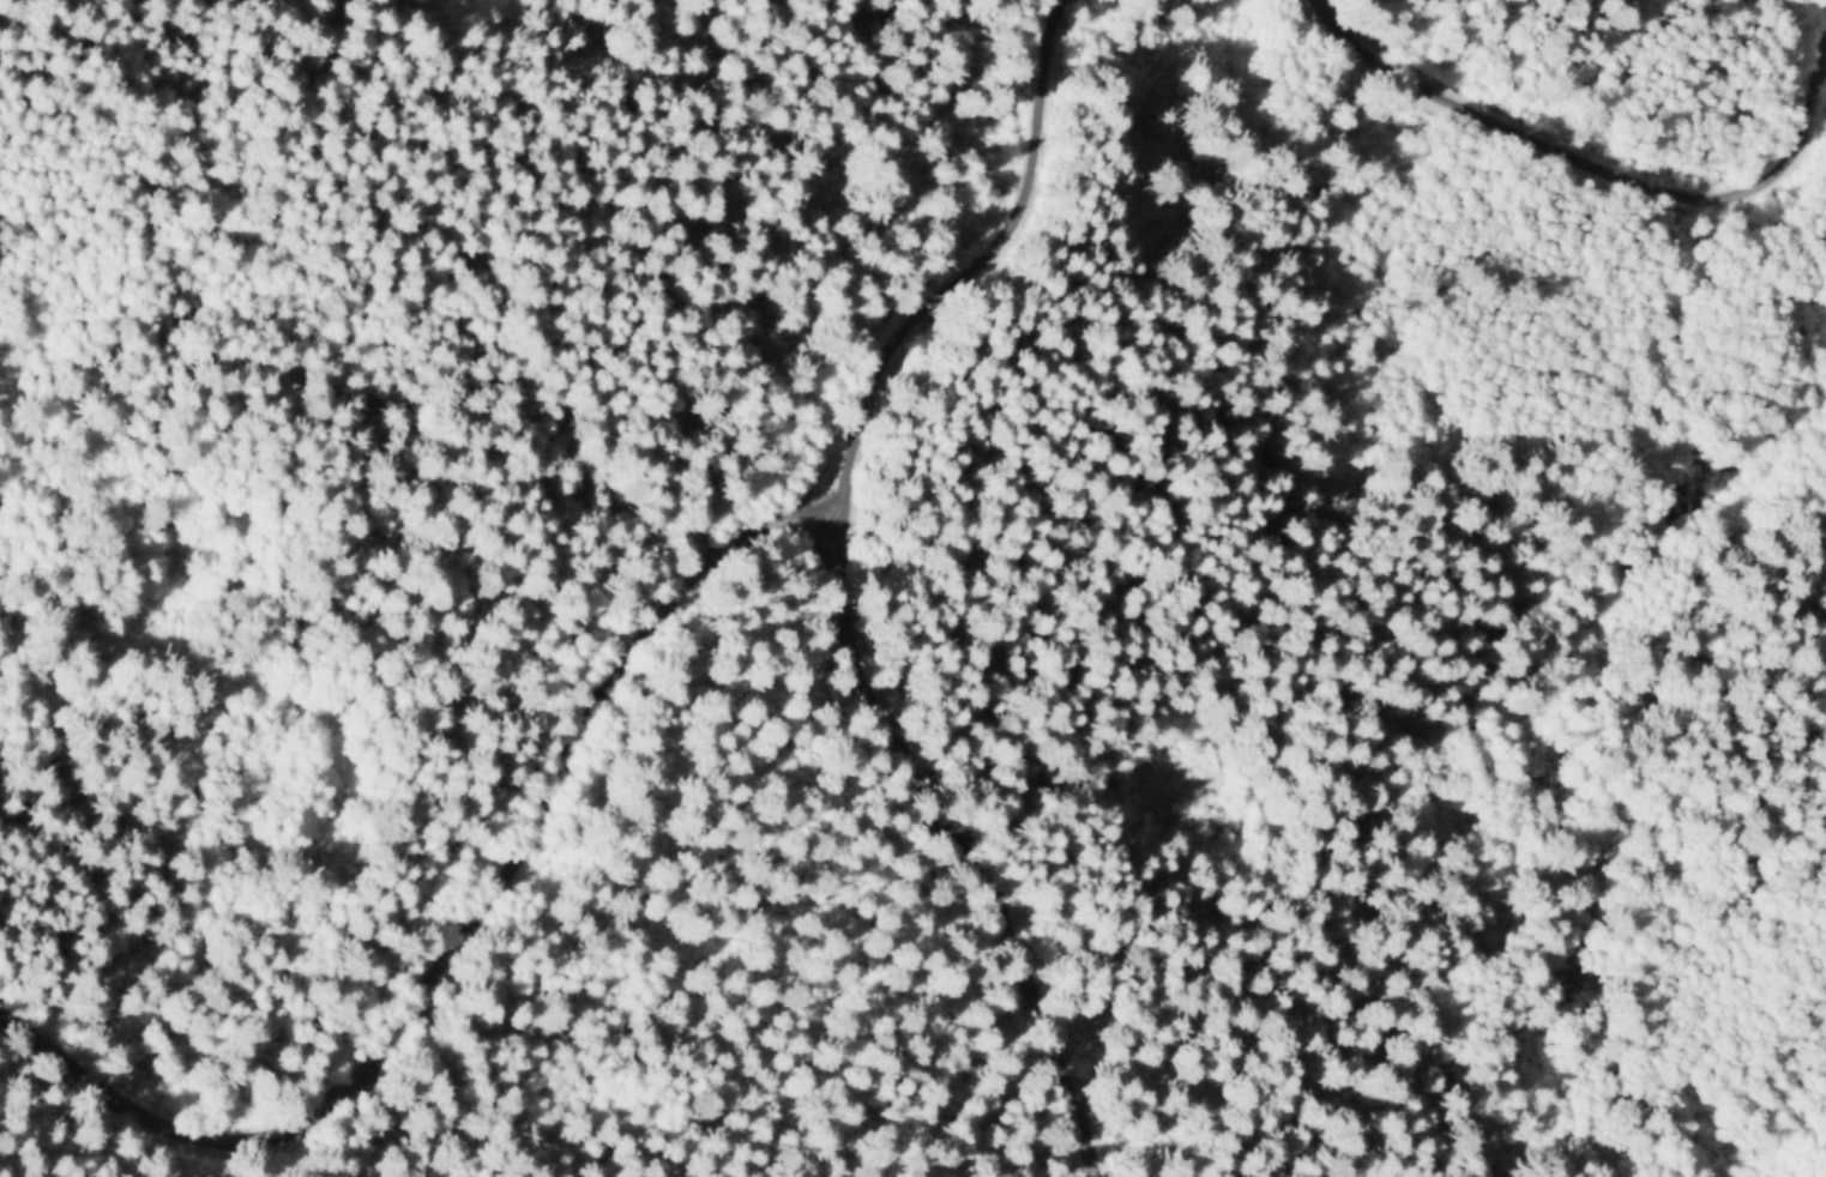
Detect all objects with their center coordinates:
road: (1575, 149)
road: (976, 262)
road: (1397, 446)
road: (966, 839)
road: (465, 935)

